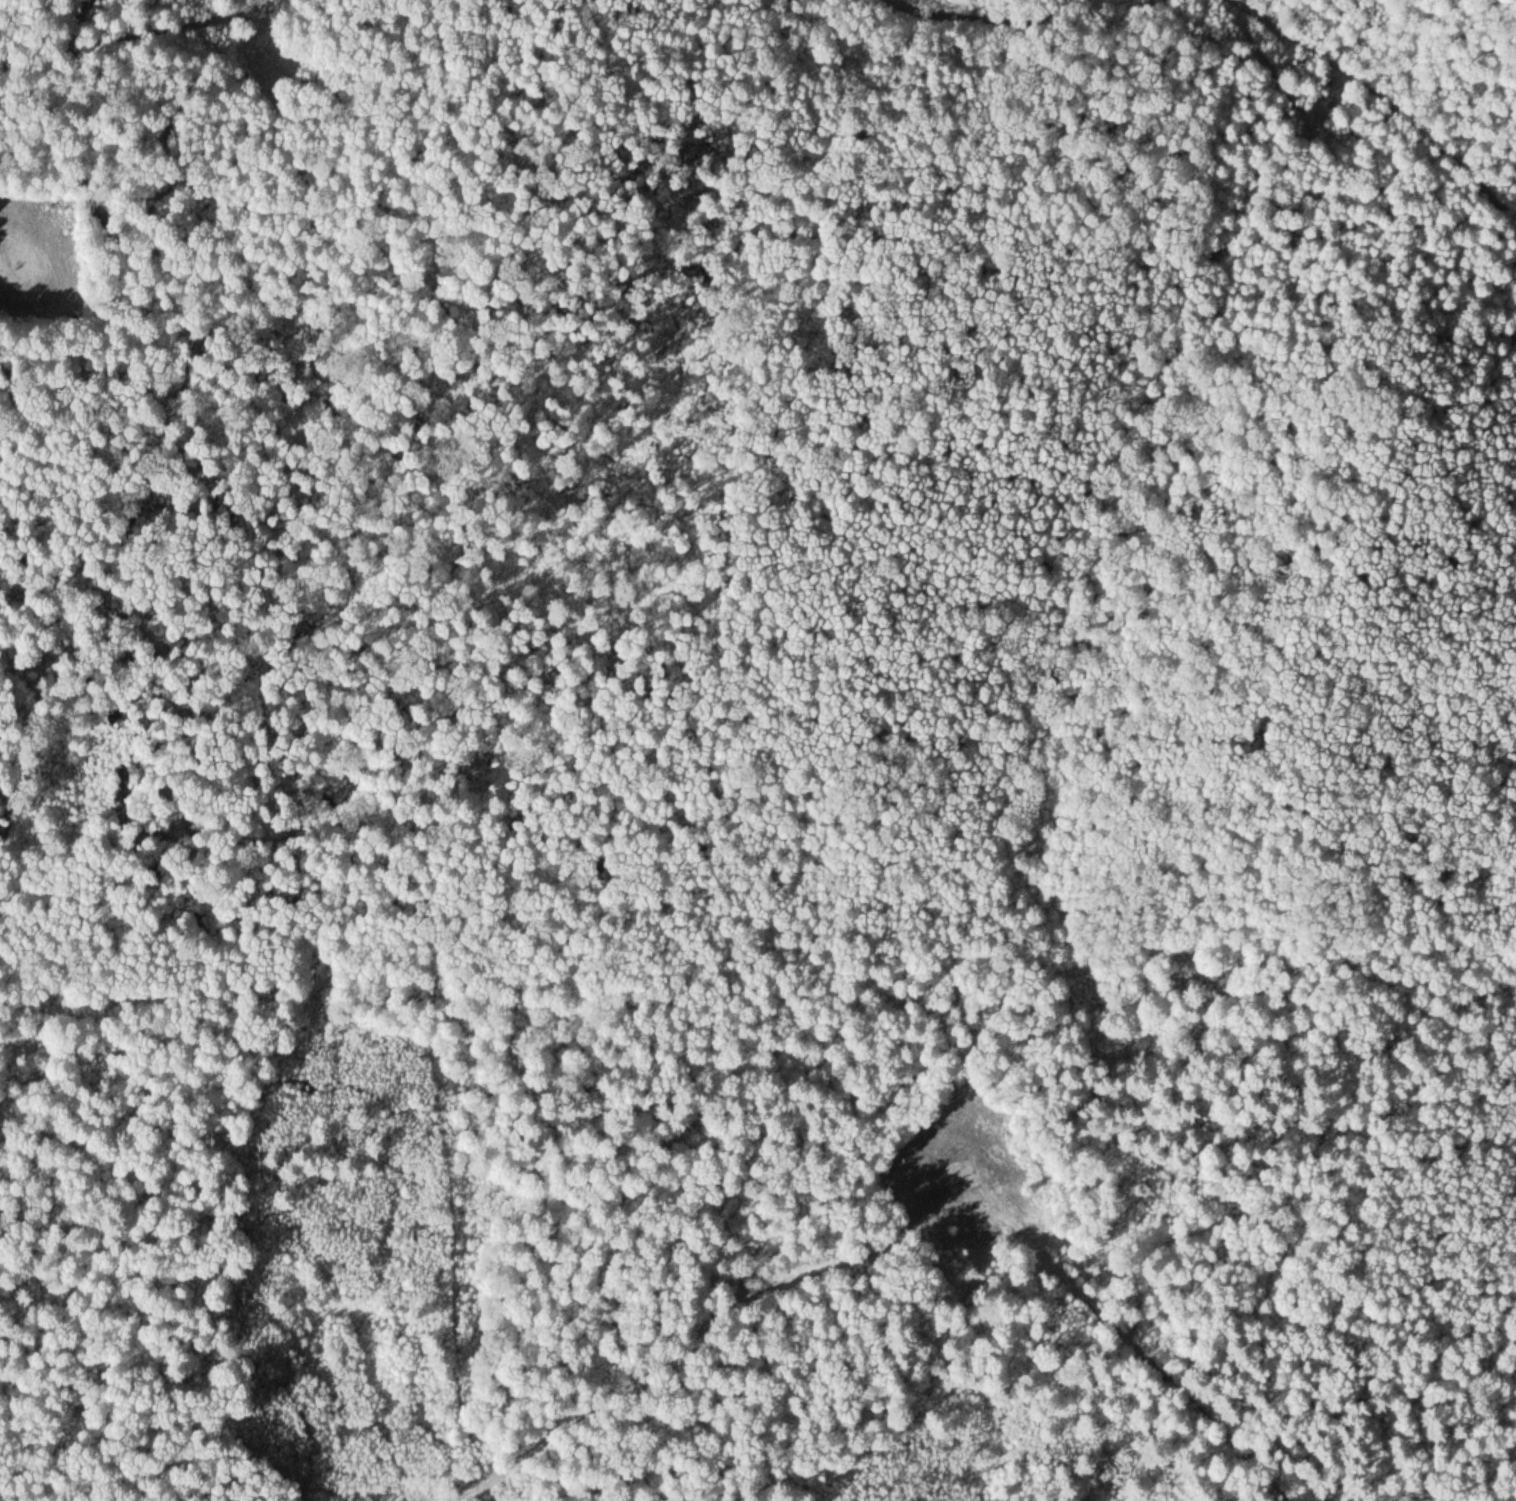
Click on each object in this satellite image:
road: (980, 18)
road: (131, 38)
road: (1384, 103)
road: (901, 1232)

